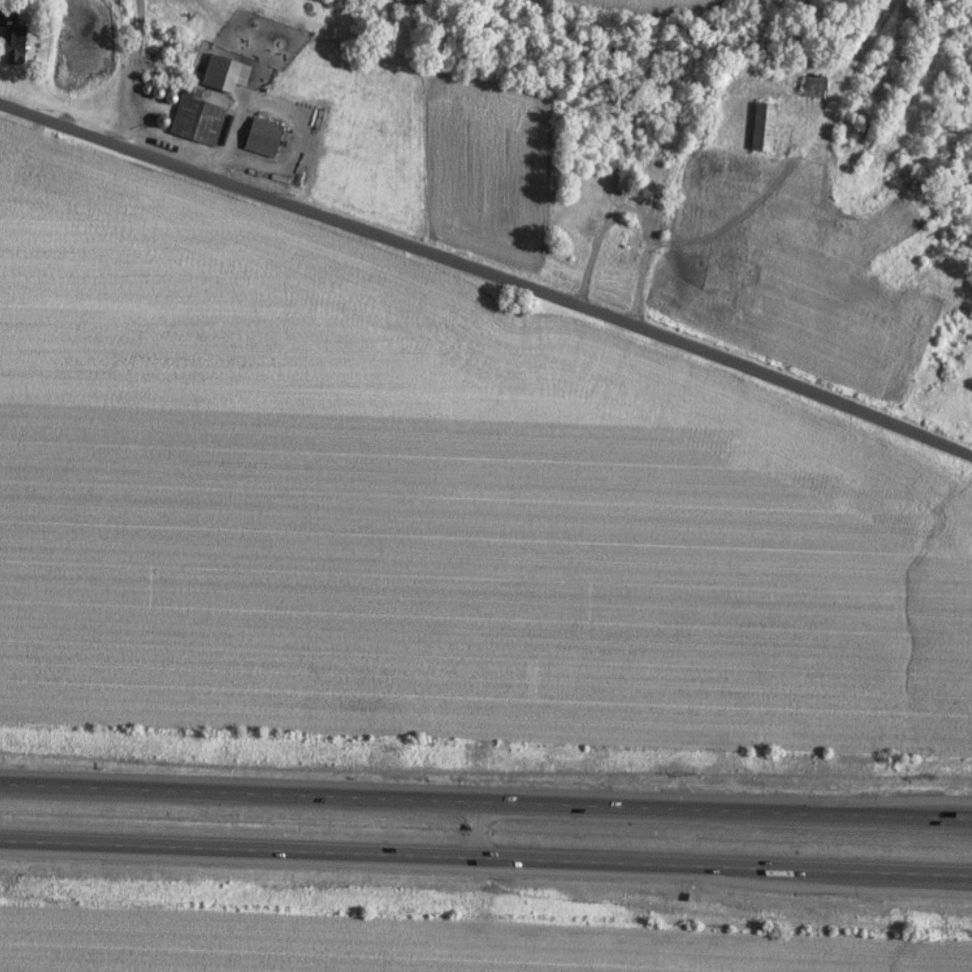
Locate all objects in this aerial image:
building: (9, 51)
building: (222, 72)
building: (261, 135)
road: (652, 212)
road: (487, 275)
crop: (420, 511)
road: (486, 800)
road: (473, 828)
road: (486, 857)
crop: (388, 948)
crop: (941, 959)

